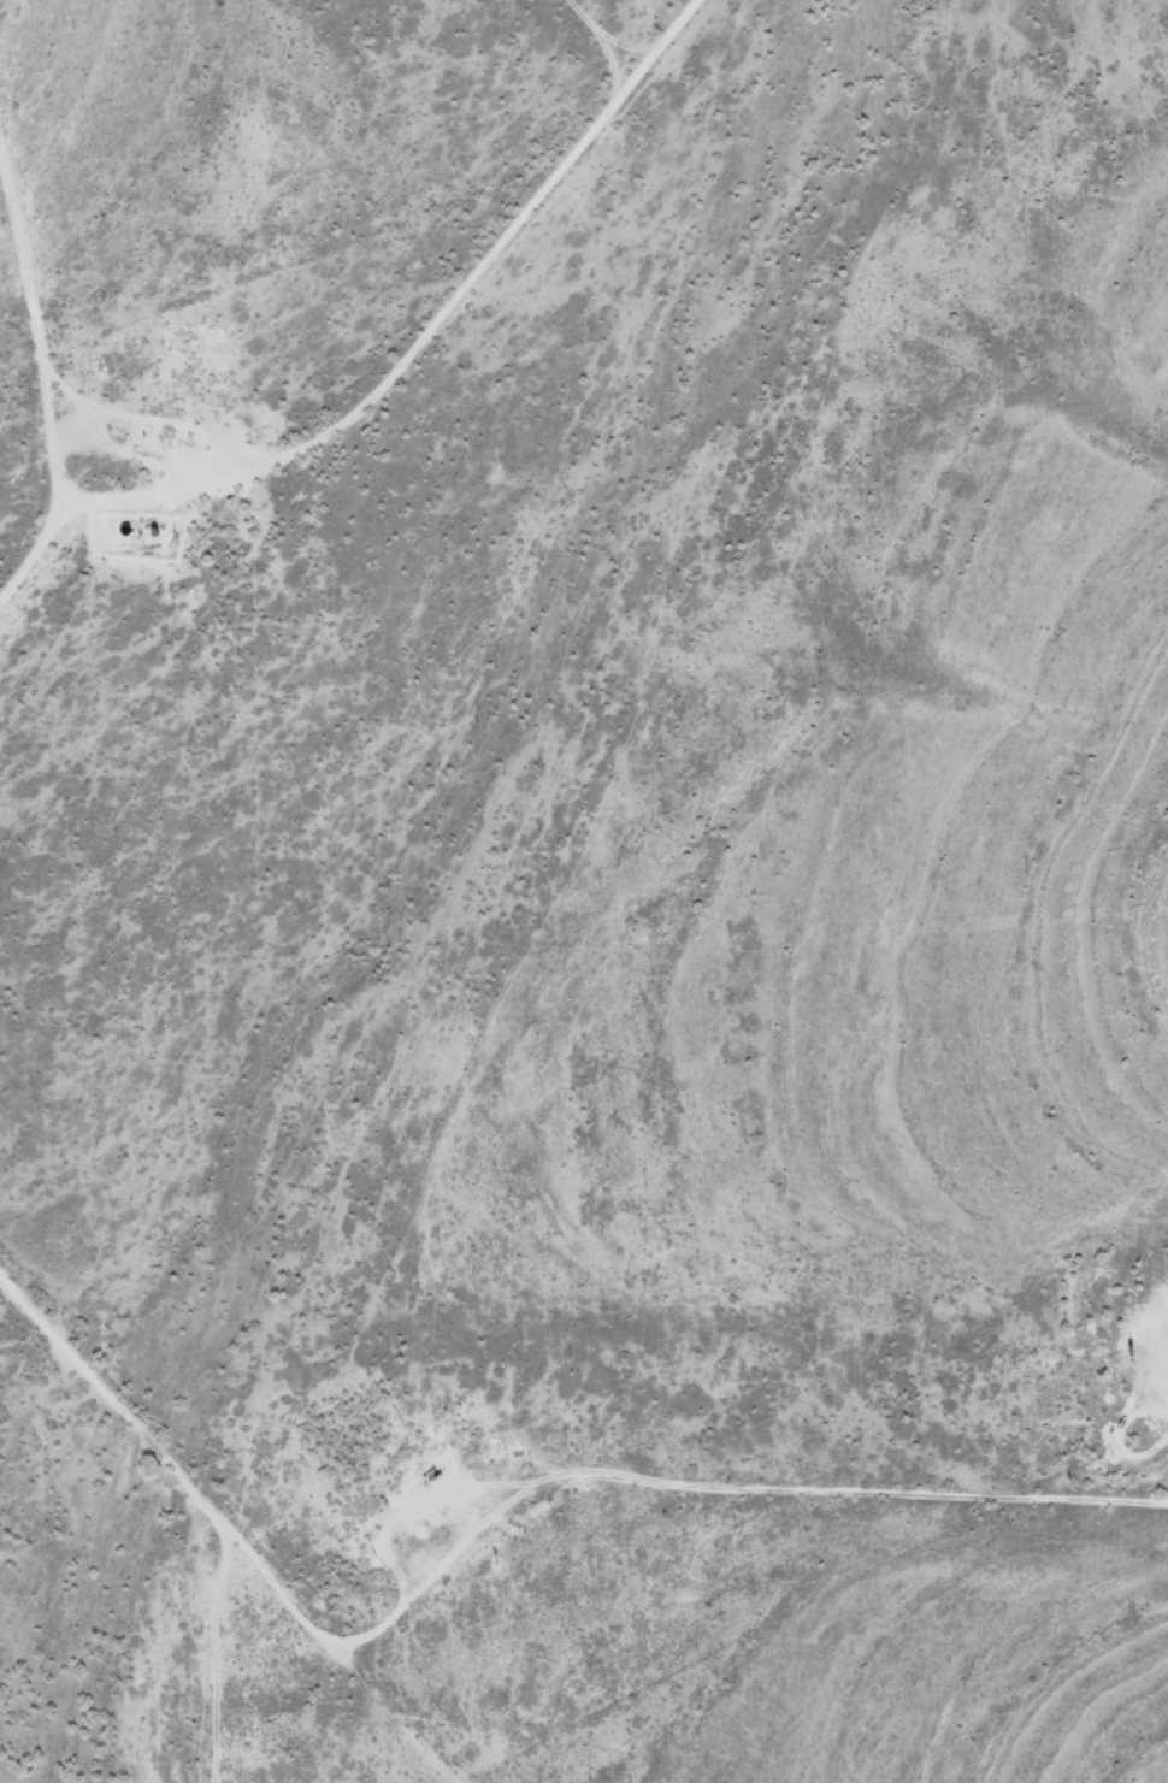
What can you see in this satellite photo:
road: (66, 235)
road: (377, 391)
road: (567, 974)
road: (147, 1415)
road: (224, 1660)

